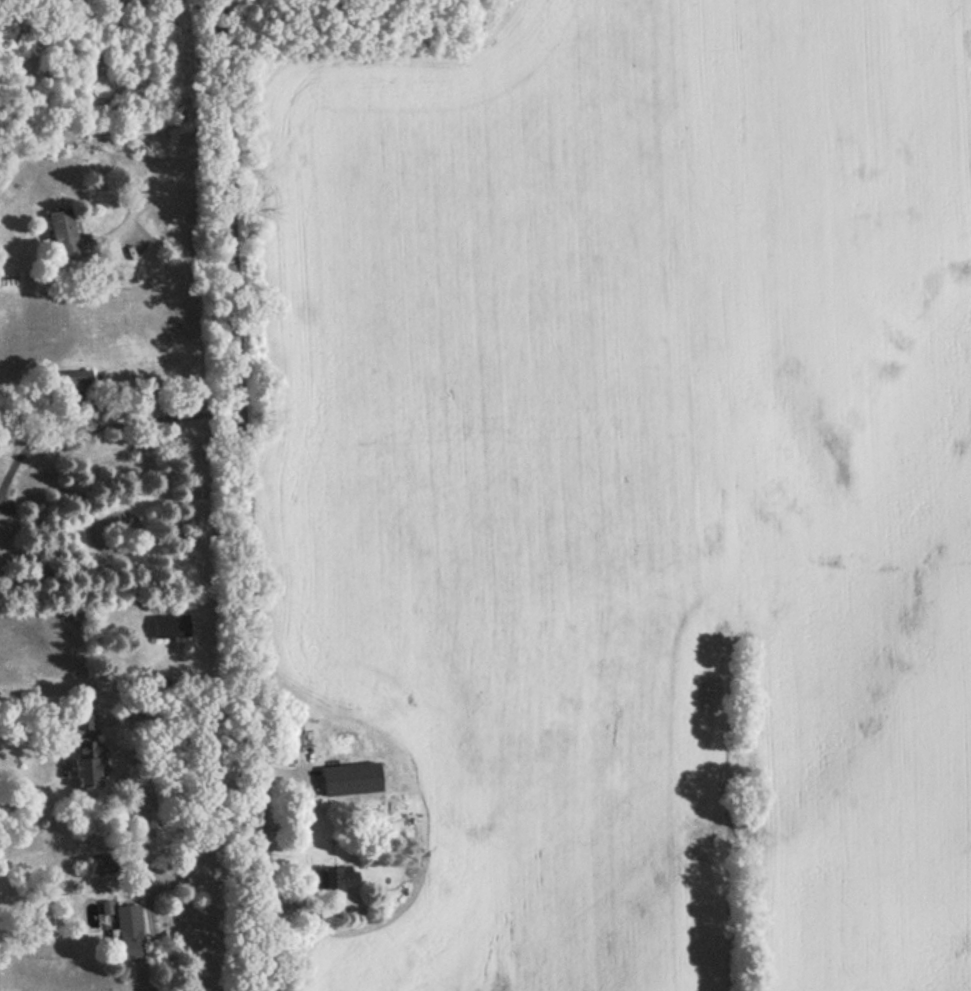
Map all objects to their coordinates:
road: (150, 190)
building: (60, 233)
road: (100, 429)
road: (236, 495)
building: (168, 625)
road: (173, 720)
building: (80, 762)
building: (350, 779)
building: (336, 878)
road: (193, 883)
building: (127, 930)

